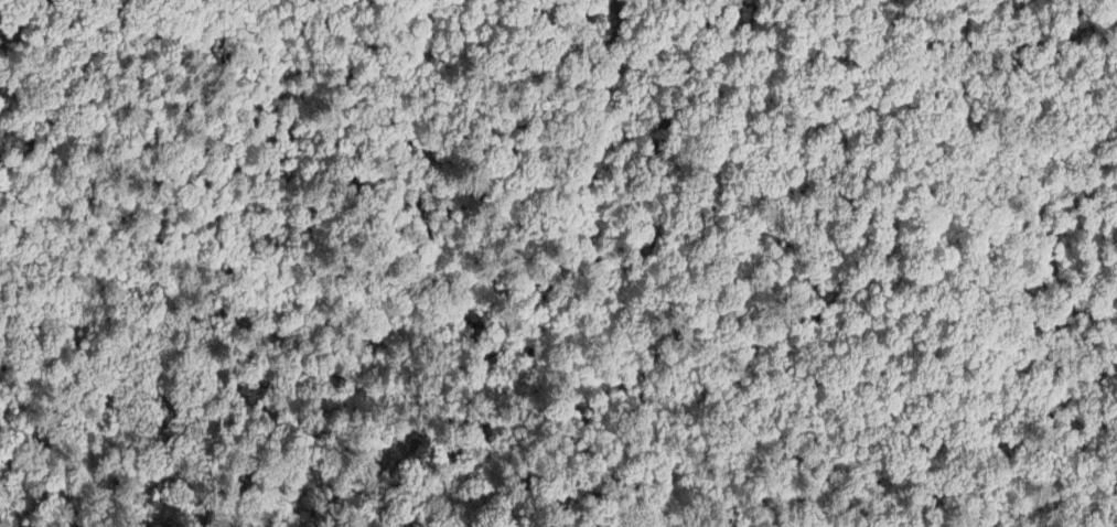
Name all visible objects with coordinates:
road: (1099, 524)

